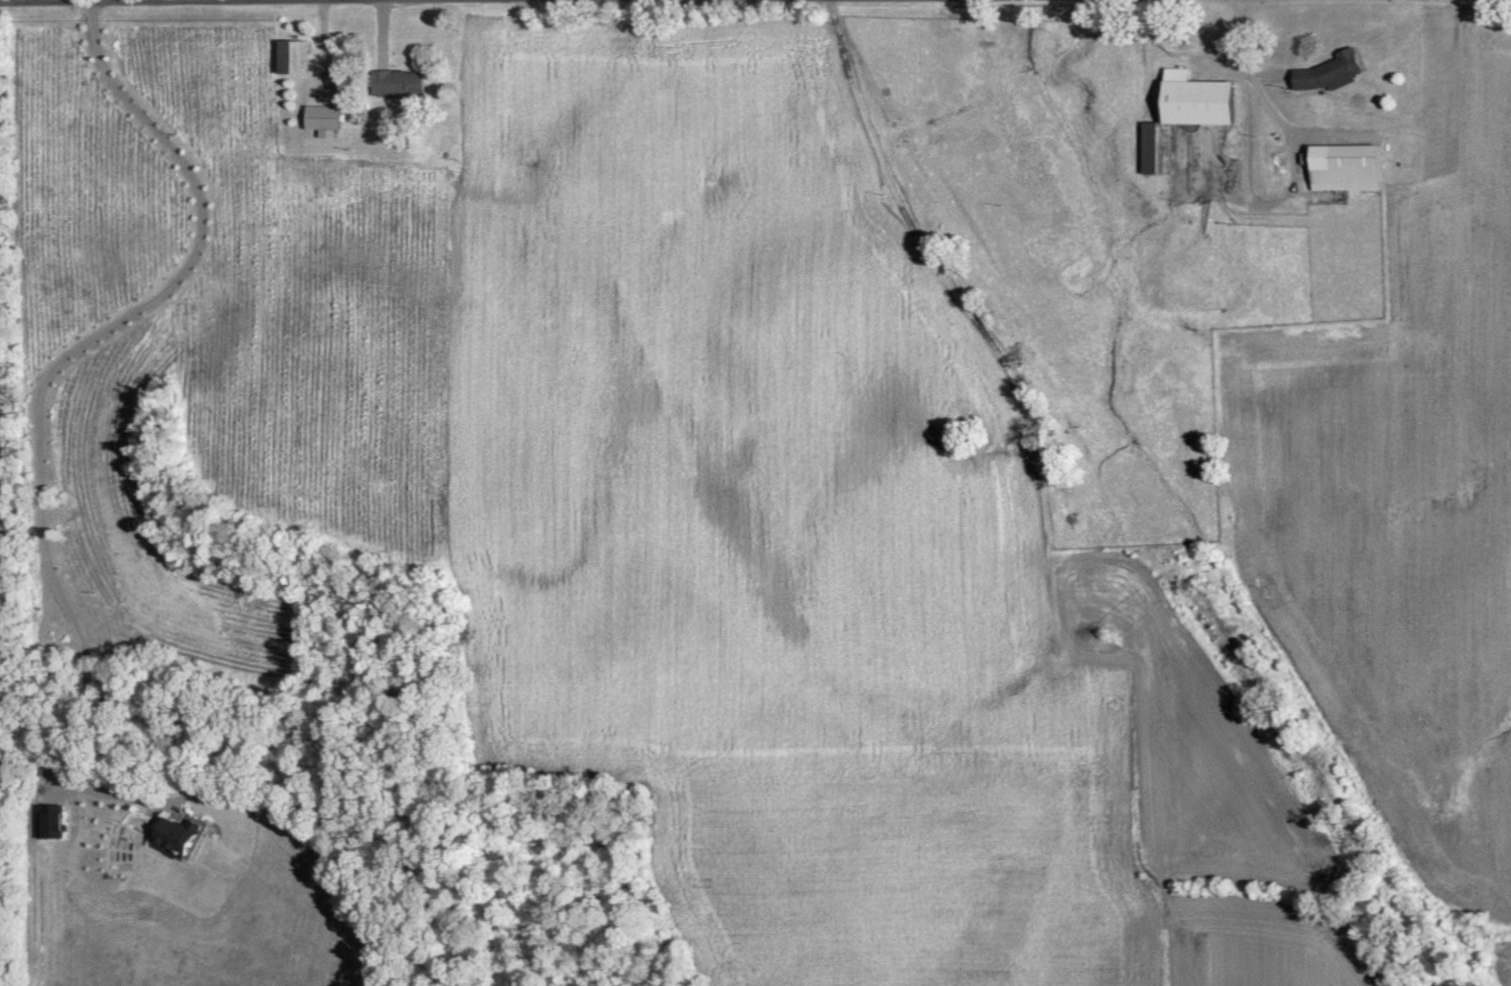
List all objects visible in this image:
building: (301, 56)
building: (1334, 70)
road: (1240, 75)
building: (405, 81)
building: (1188, 113)
building: (330, 116)
building: (1276, 150)
building: (1351, 166)
road: (43, 386)
building: (179, 835)

